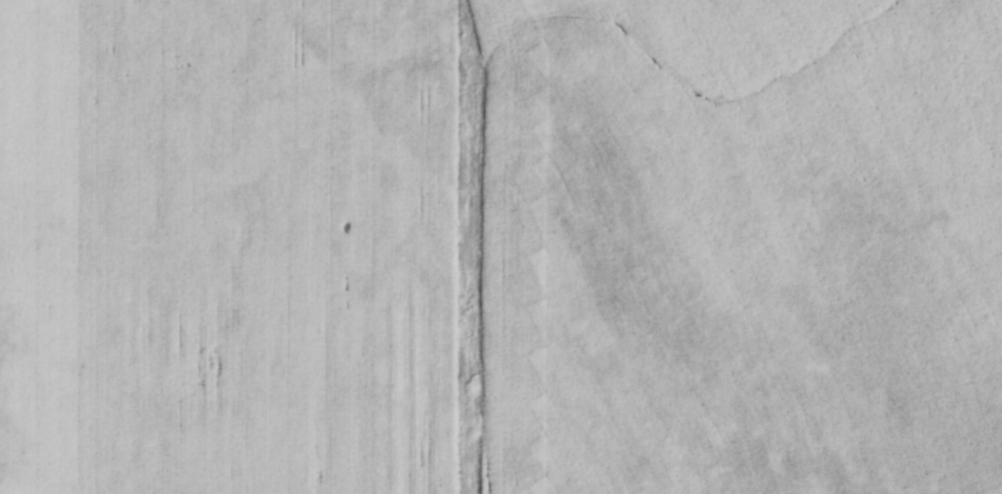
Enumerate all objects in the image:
crop: (226, 247)

